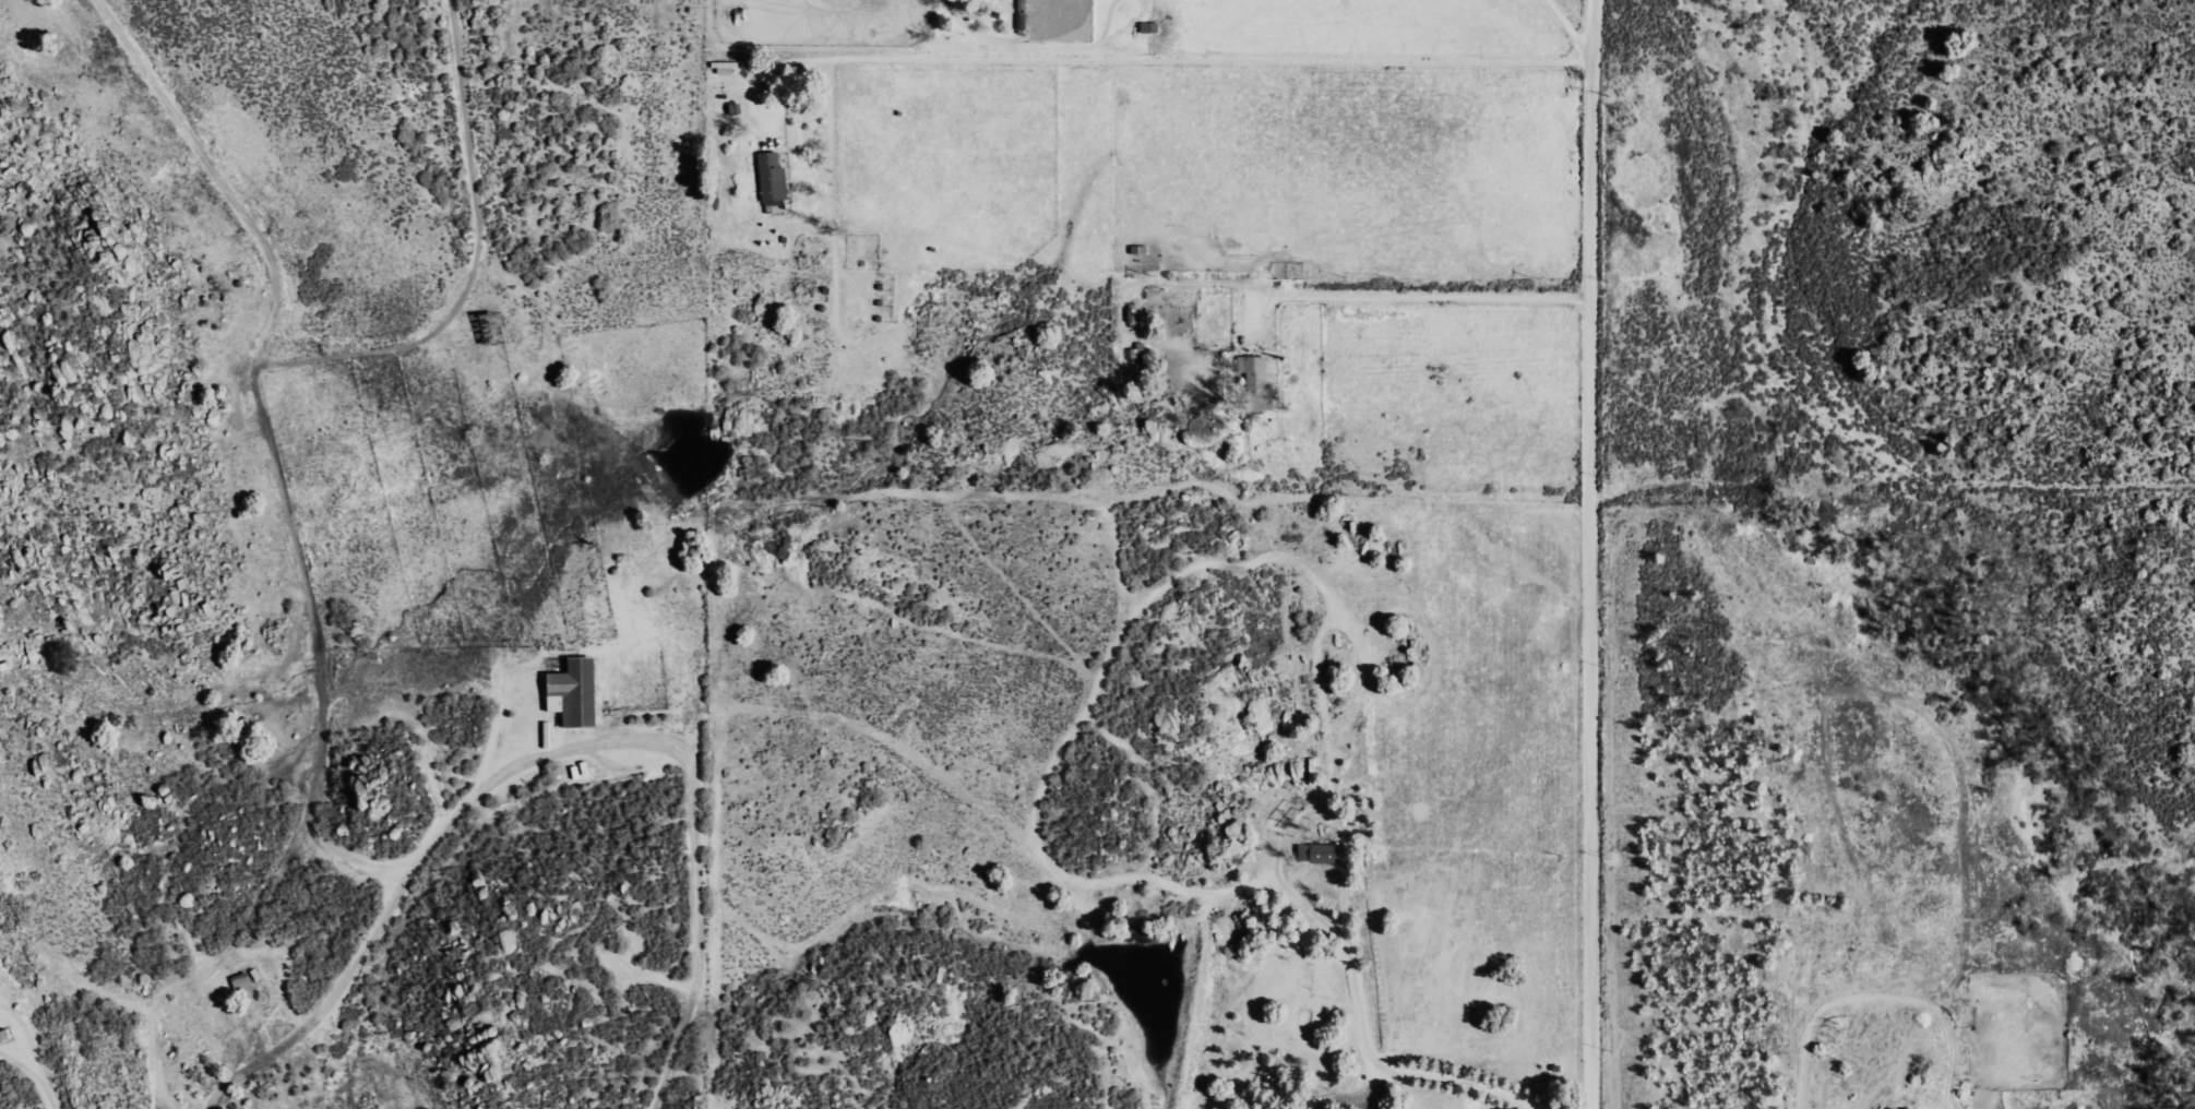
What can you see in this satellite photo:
building: (726, 68)
building: (774, 178)
building: (1140, 355)
building: (1255, 371)
road: (1595, 553)
building: (577, 691)
building: (1322, 852)
building: (1900, 1108)

